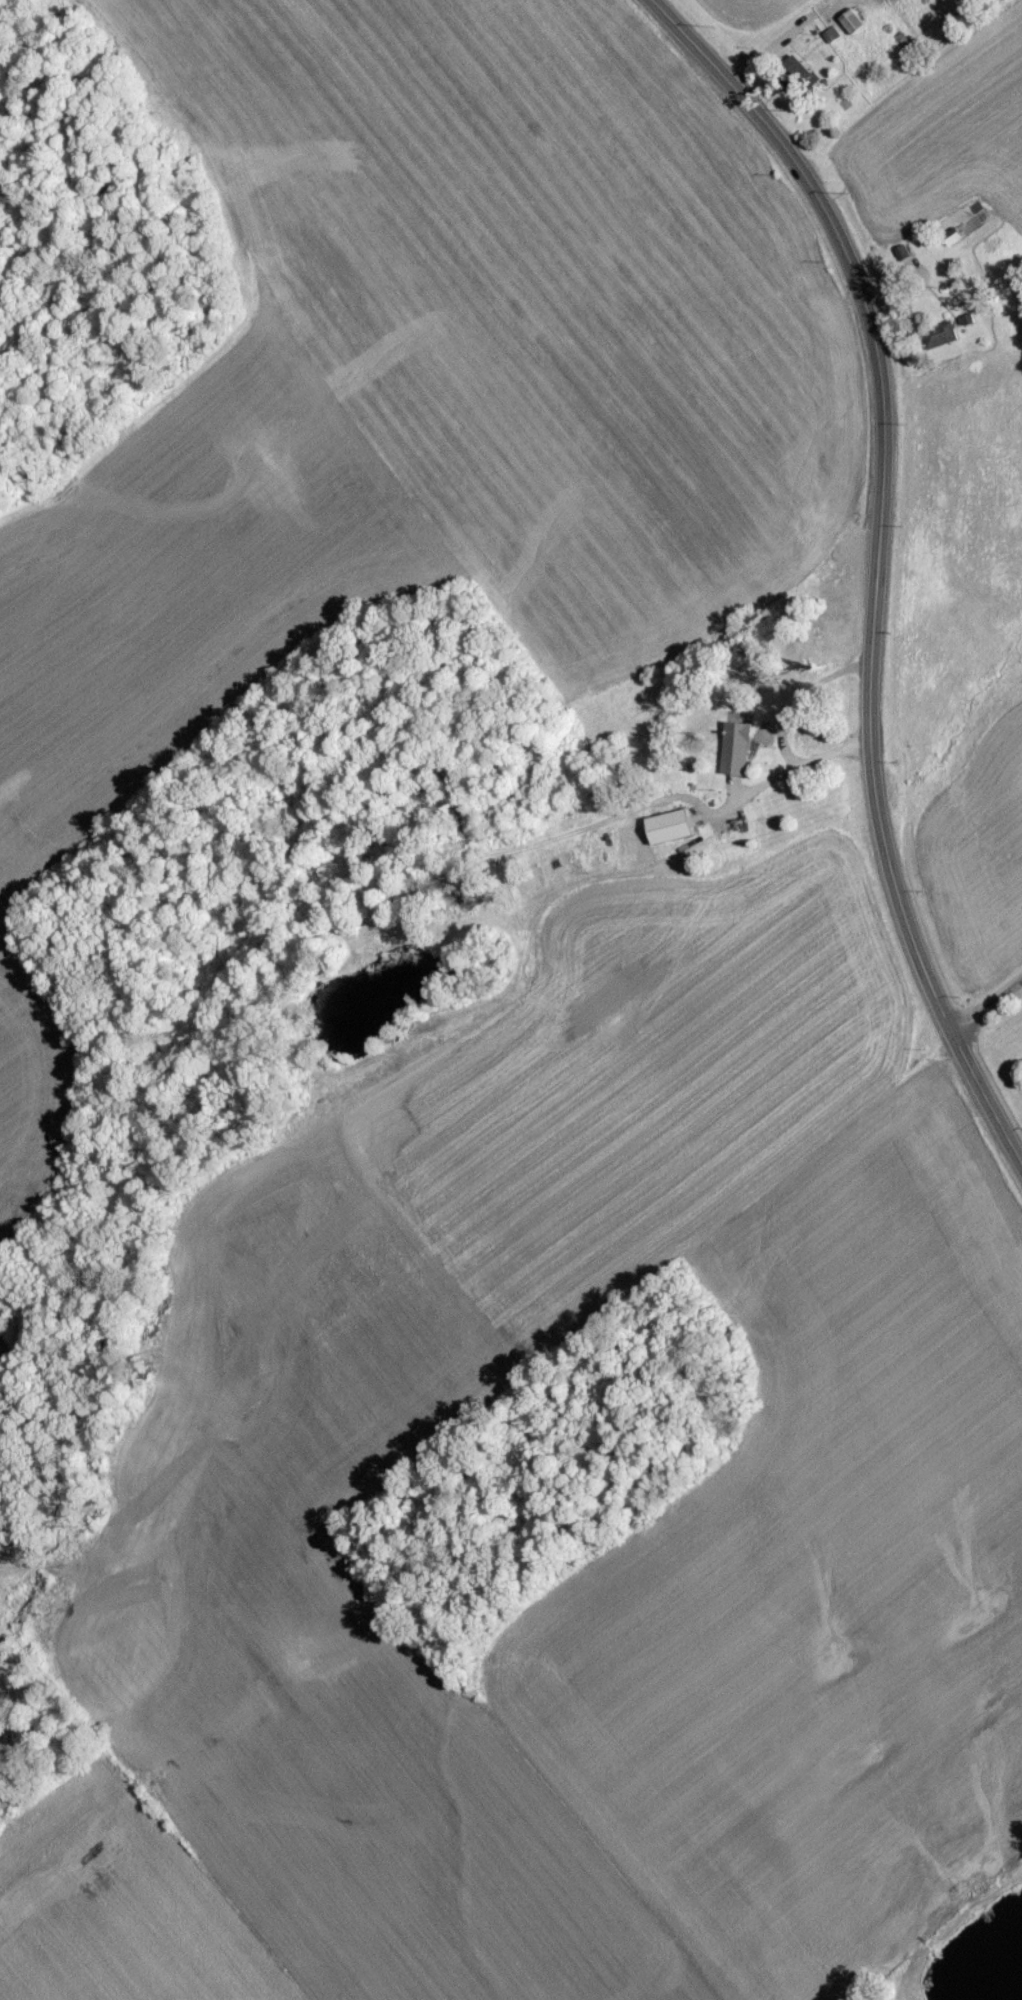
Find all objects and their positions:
building: (853, 27)
building: (795, 80)
building: (942, 341)
road: (877, 563)
road: (784, 725)
building: (736, 754)
building: (671, 832)
road: (986, 1008)

